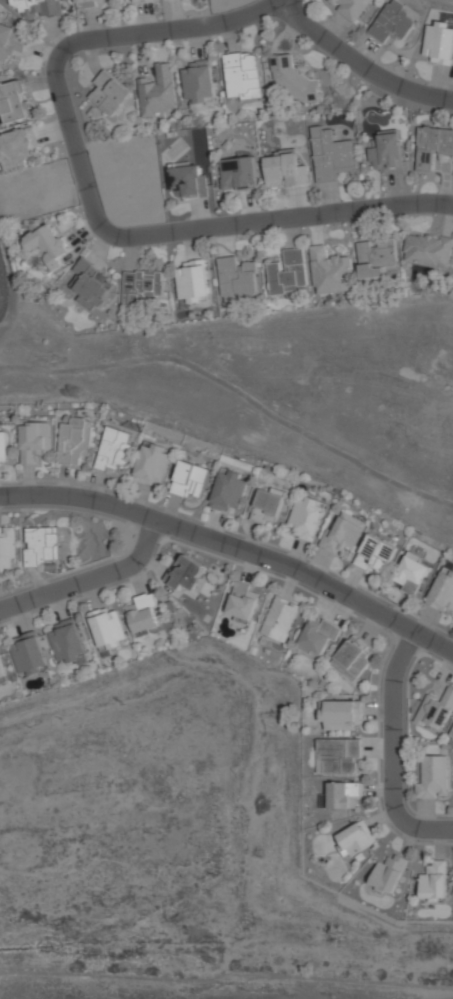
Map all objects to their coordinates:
building: (141, 1)
building: (84, 3)
building: (37, 8)
building: (351, 8)
building: (393, 22)
building: (10, 41)
building: (438, 42)
road: (360, 68)
building: (242, 76)
building: (291, 80)
building: (199, 82)
building: (158, 92)
building: (109, 93)
building: (12, 102)
building: (432, 146)
building: (16, 147)
building: (388, 152)
building: (331, 154)
building: (286, 169)
building: (238, 174)
building: (188, 182)
road: (88, 199)
building: (47, 245)
building: (427, 250)
building: (376, 258)
building: (330, 271)
building: (288, 272)
building: (236, 280)
building: (193, 281)
building: (90, 284)
building: (143, 285)
building: (35, 441)
building: (74, 441)
building: (3, 446)
building: (114, 449)
building: (152, 464)
building: (191, 479)
building: (229, 491)
building: (266, 507)
building: (306, 517)
building: (342, 533)
street lamp: (174, 539)
building: (41, 545)
building: (7, 547)
road: (234, 547)
building: (374, 554)
building: (187, 573)
building: (411, 573)
road: (90, 579)
building: (442, 590)
building: (242, 602)
building: (143, 615)
building: (279, 619)
building: (106, 628)
building: (318, 635)
building: (66, 641)
building: (28, 653)
street lamp: (432, 655)
building: (351, 658)
building: (1, 671)
building: (436, 712)
building: (340, 714)
building: (452, 735)
road: (392, 751)
building: (338, 755)
building: (433, 777)
building: (342, 794)
building: (356, 838)
building: (388, 873)
building: (433, 881)

